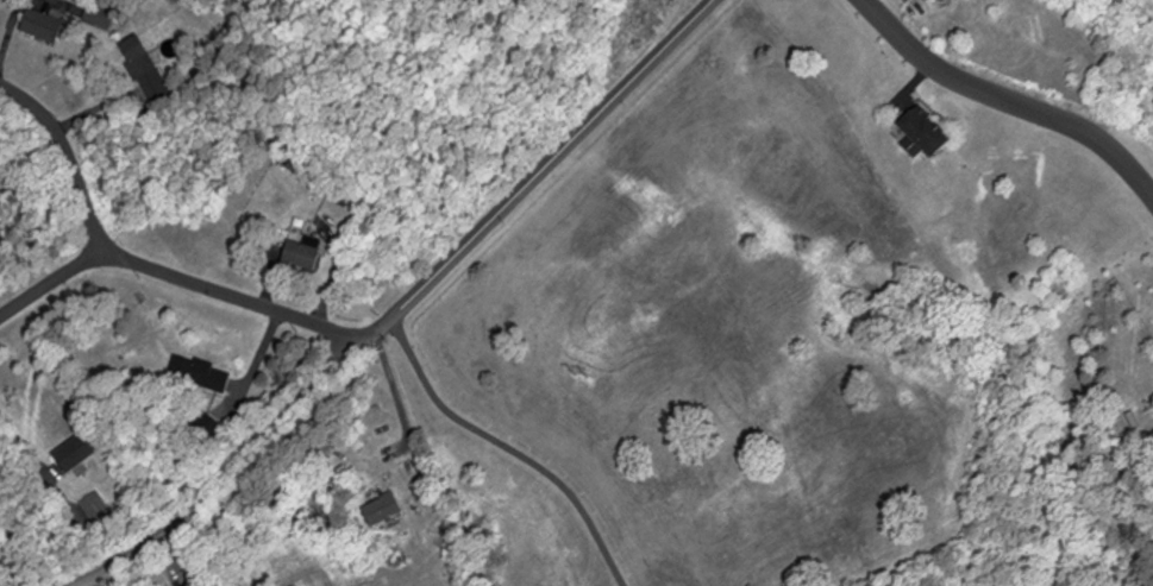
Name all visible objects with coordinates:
road: (1007, 99)
road: (64, 156)
road: (50, 278)
road: (234, 292)
road: (397, 305)
power tower: (582, 377)
road: (513, 443)
road: (20, 446)

